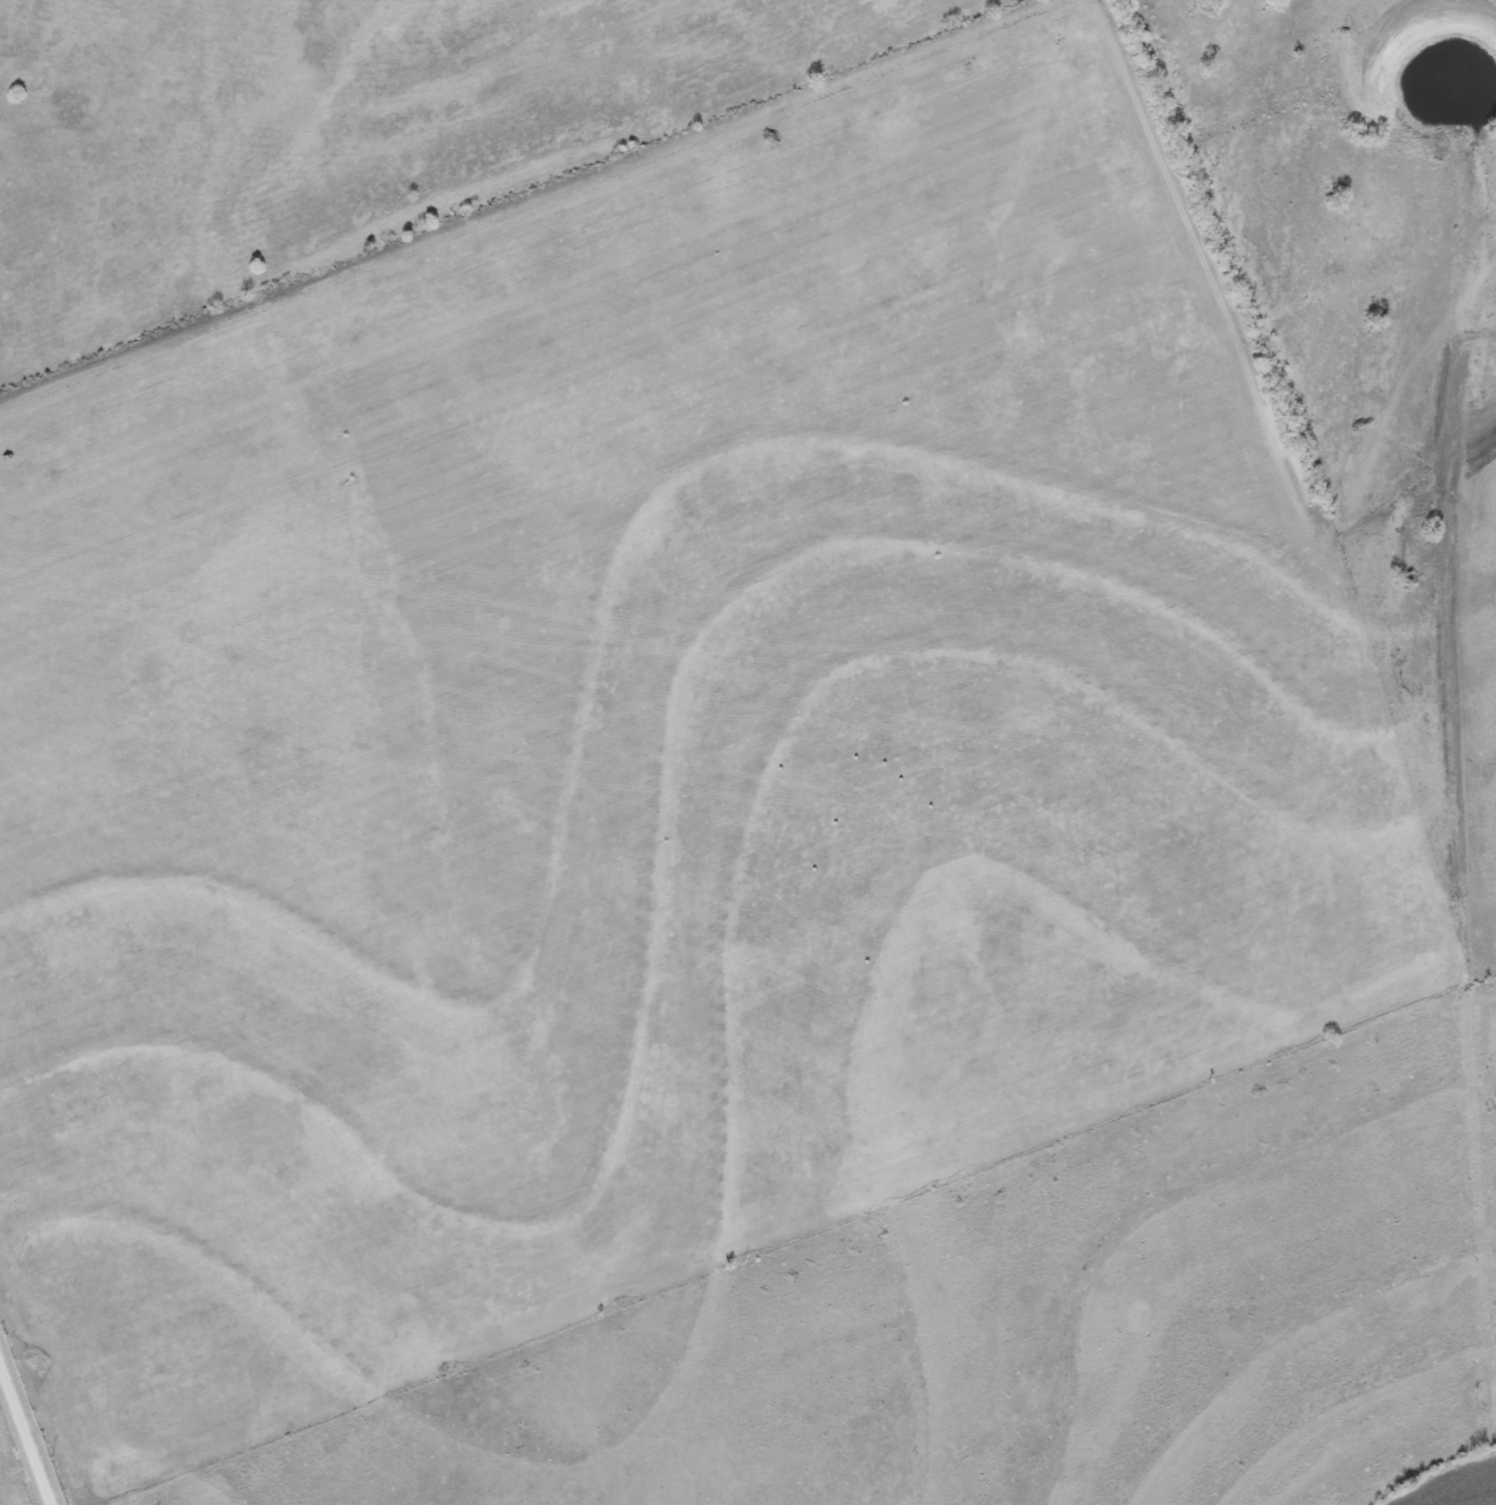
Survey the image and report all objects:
road: (26, 1431)

